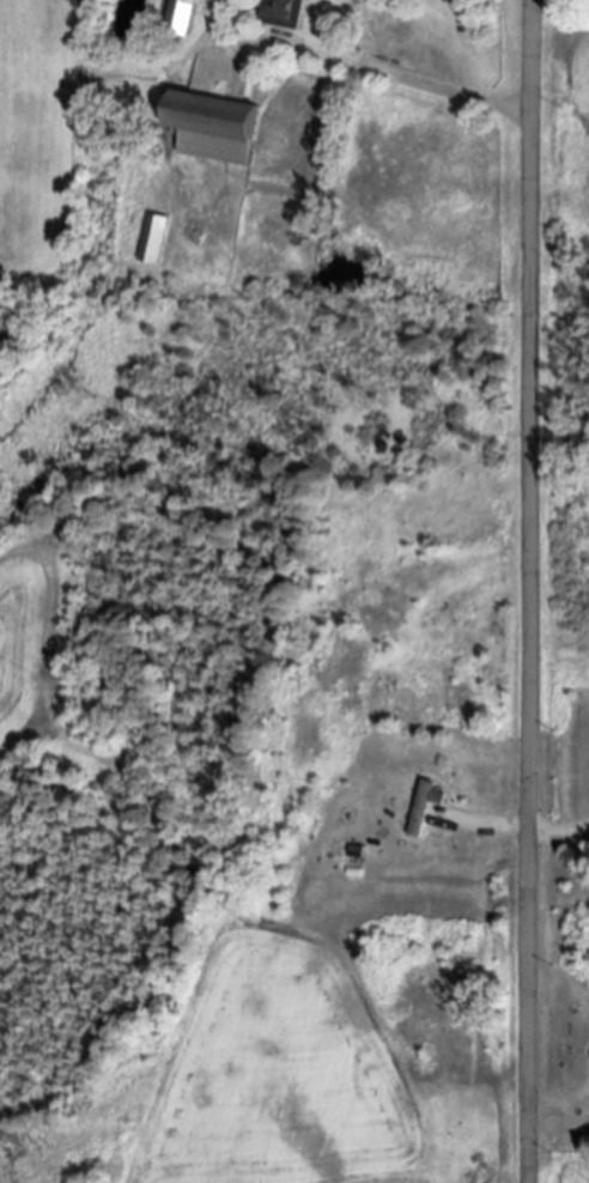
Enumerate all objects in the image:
building: (280, 13)
building: (181, 16)
road: (353, 67)
building: (213, 126)
building: (151, 237)
road: (528, 590)
road: (521, 827)

